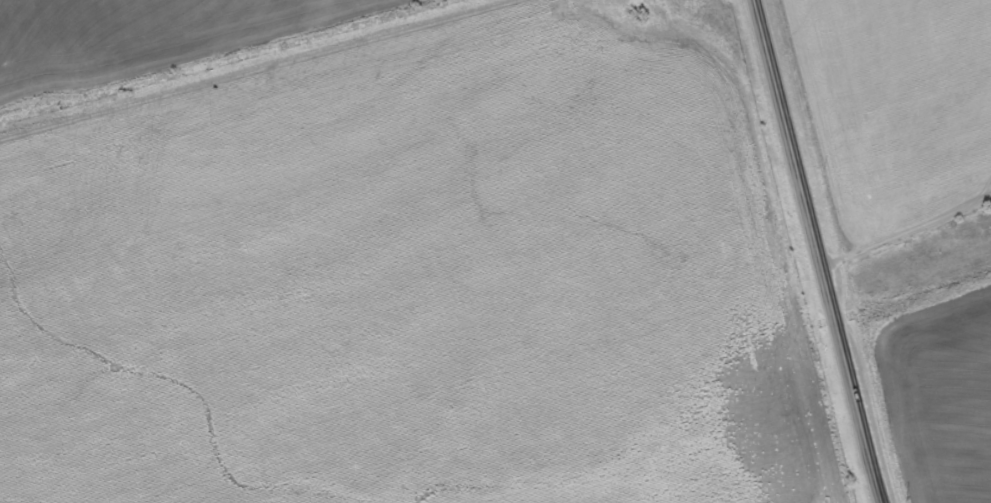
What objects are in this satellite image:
road: (812, 251)

